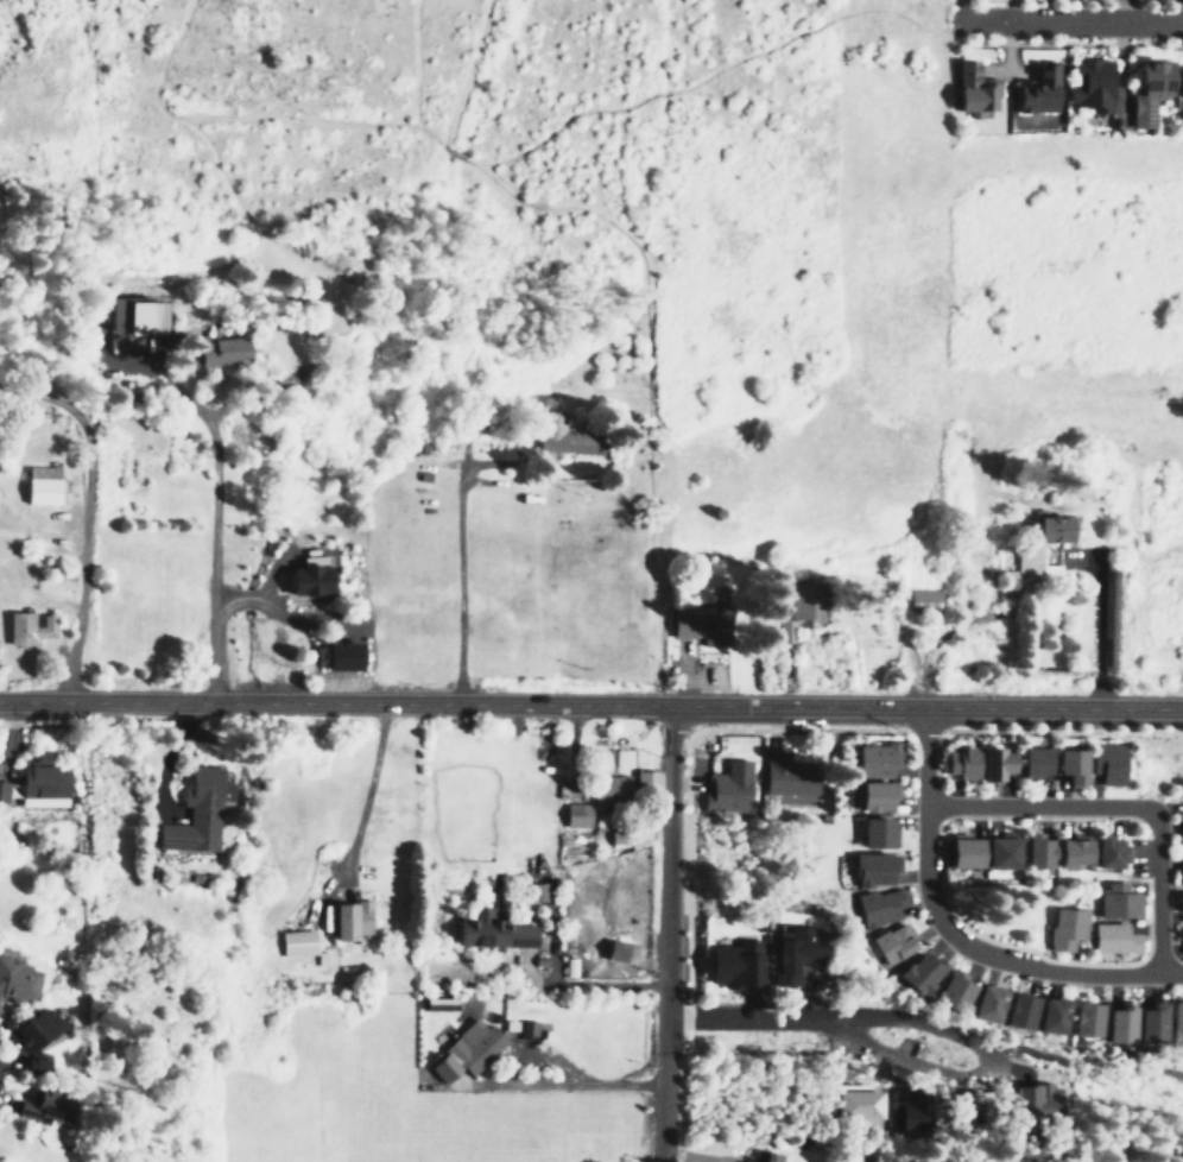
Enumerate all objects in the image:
road: (1008, 11)
road: (1071, 21)
road: (405, 62)
road: (709, 68)
road: (454, 71)
building: (1178, 81)
building: (1088, 82)
building: (1149, 88)
building: (969, 89)
building: (1035, 89)
road: (553, 204)
building: (141, 316)
building: (230, 349)
building: (562, 435)
building: (46, 484)
road: (84, 519)
building: (1032, 543)
building: (315, 576)
road: (213, 580)
building: (922, 600)
building: (798, 610)
building: (695, 621)
building: (32, 626)
building: (350, 655)
road: (591, 703)
building: (875, 759)
building: (956, 762)
building: (1029, 762)
building: (1103, 762)
building: (992, 763)
building: (1067, 765)
building: (786, 773)
building: (644, 782)
building: (1179, 787)
building: (727, 788)
building: (611, 789)
building: (4, 790)
building: (873, 795)
road: (361, 803)
road: (1122, 807)
building: (201, 810)
building: (575, 814)
building: (875, 833)
building: (1033, 850)
building: (1087, 850)
building: (979, 852)
building: (871, 867)
building: (1181, 873)
building: (536, 891)
building: (1116, 899)
building: (1178, 901)
building: (879, 905)
building: (347, 918)
building: (1064, 927)
building: (489, 932)
road: (668, 933)
road: (957, 933)
building: (1112, 937)
building: (295, 942)
building: (893, 942)
building: (614, 949)
building: (790, 954)
building: (732, 962)
building: (922, 972)
building: (18, 979)
building: (955, 990)
building: (989, 1002)
building: (1020, 1010)
building: (1054, 1015)
road: (747, 1016)
building: (1088, 1018)
building: (1176, 1019)
building: (1152, 1021)
building: (1120, 1023)
building: (527, 1028)
building: (39, 1032)
parking lot: (898, 1042)
road: (1080, 1048)
building: (464, 1050)
road: (975, 1050)
road: (581, 1082)
building: (1032, 1098)
building: (45, 1105)
building: (910, 1110)

